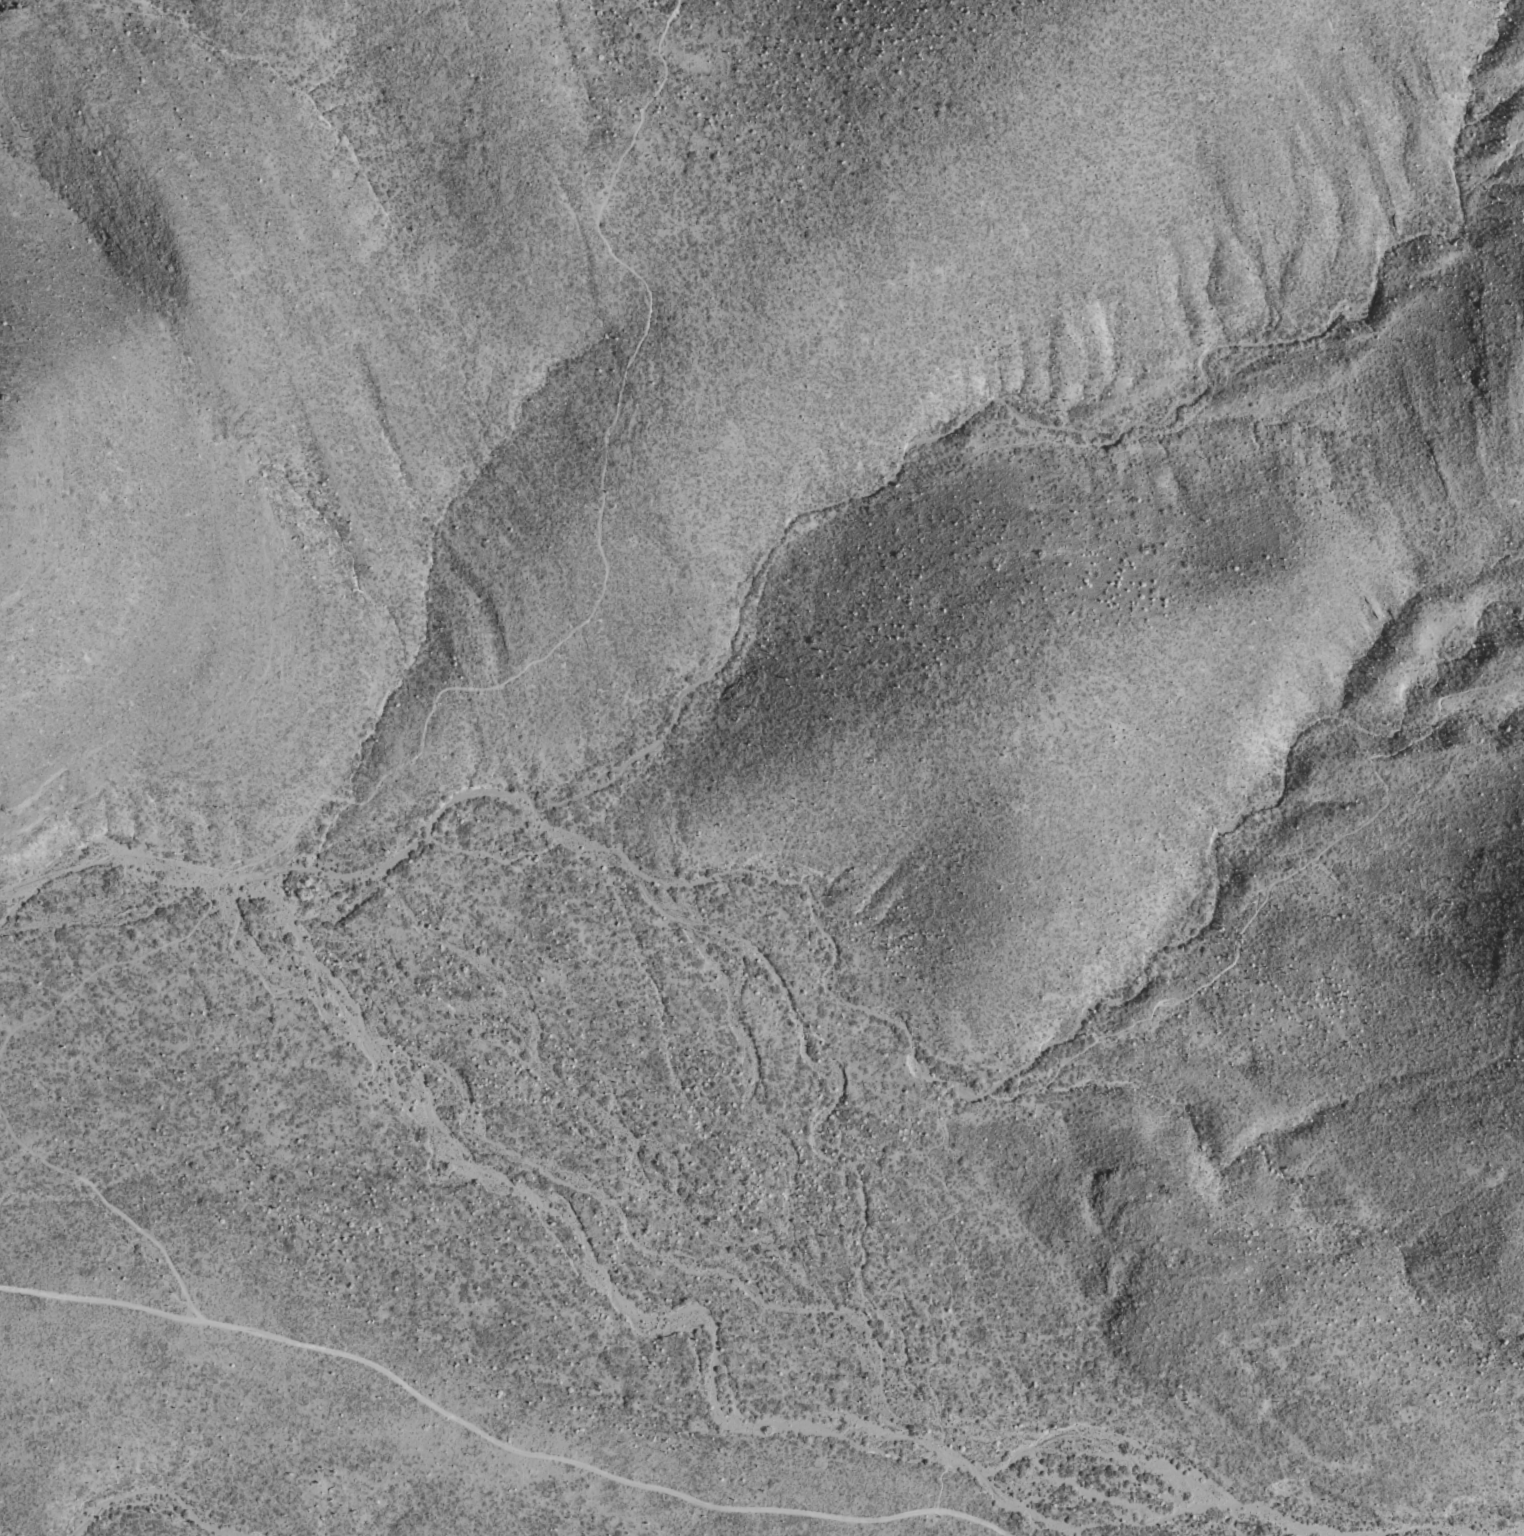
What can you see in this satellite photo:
road: (548, 651)
road: (108, 1209)
road: (99, 1300)
road: (594, 1471)

